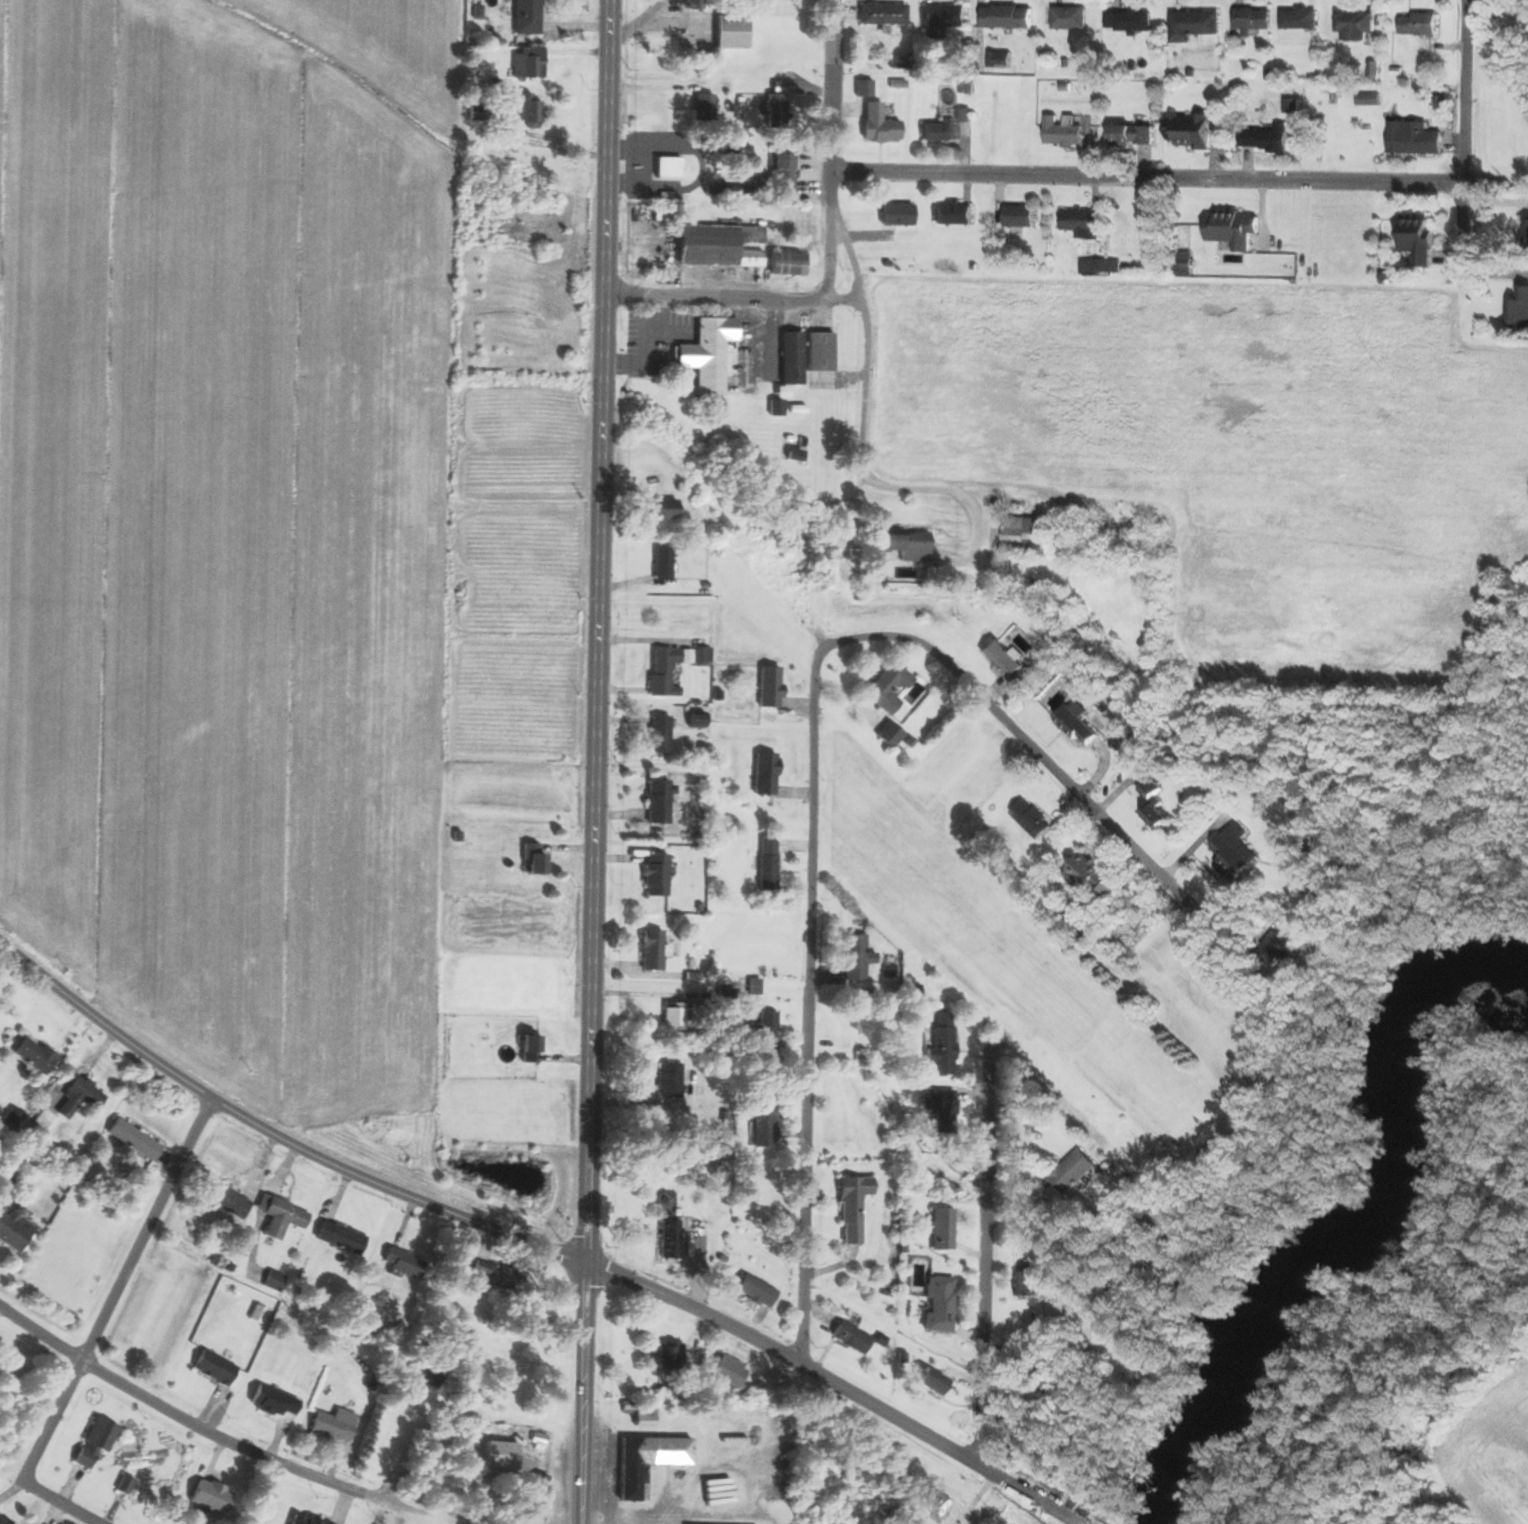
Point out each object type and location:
building: (694, 4)
building: (884, 13)
building: (528, 17)
building: (1010, 17)
building: (1071, 18)
building: (1300, 18)
building: (1255, 19)
building: (944, 20)
building: (1130, 21)
building: (1195, 25)
building: (1357, 25)
building: (1420, 25)
building: (733, 31)
building: (529, 62)
building: (899, 65)
building: (865, 88)
building: (1368, 100)
building: (703, 107)
building: (777, 108)
building: (530, 111)
building: (477, 113)
building: (965, 115)
building: (883, 131)
building: (940, 131)
building: (1192, 131)
building: (1065, 132)
building: (1133, 135)
building: (1416, 138)
building: (1267, 139)
road: (553, 146)
building: (720, 147)
road: (832, 155)
road: (1466, 165)
building: (669, 168)
road: (645, 170)
building: (784, 172)
road: (1148, 176)
building: (729, 191)
building: (955, 213)
building: (898, 214)
building: (1021, 216)
building: (1084, 223)
building: (1232, 229)
building: (1420, 237)
building: (720, 245)
road: (829, 254)
building: (788, 263)
building: (1104, 266)
road: (734, 298)
building: (1519, 308)
building: (821, 351)
building: (709, 354)
building: (793, 357)
road: (863, 395)
building: (777, 408)
building: (798, 457)
building: (662, 509)
building: (1028, 535)
building: (908, 544)
building: (664, 564)
building: (703, 657)
building: (1003, 659)
building: (664, 672)
building: (771, 686)
building: (889, 688)
building: (1079, 724)
building: (661, 734)
building: (891, 735)
road: (812, 749)
road: (594, 761)
building: (767, 773)
building: (660, 802)
building: (1156, 810)
building: (1034, 819)
building: (1236, 853)
building: (535, 859)
building: (769, 863)
building: (657, 875)
building: (1091, 875)
building: (1276, 948)
building: (653, 951)
building: (858, 958)
building: (674, 1018)
building: (766, 1032)
building: (943, 1045)
building: (531, 1050)
building: (35, 1056)
building: (671, 1080)
building: (81, 1098)
building: (942, 1109)
building: (13, 1119)
building: (42, 1122)
building: (765, 1122)
road: (276, 1135)
building: (135, 1139)
building: (1077, 1172)
building: (224, 1199)
building: (853, 1208)
building: (282, 1217)
building: (943, 1229)
building: (13, 1230)
building: (670, 1237)
building: (341, 1238)
building: (405, 1264)
building: (497, 1278)
building: (1031, 1284)
road: (975, 1288)
road: (118, 1291)
building: (757, 1292)
building: (940, 1304)
building: (852, 1338)
building: (669, 1356)
building: (216, 1369)
building: (730, 1372)
building: (933, 1382)
road: (839, 1387)
building: (276, 1403)
building: (645, 1419)
building: (734, 1424)
building: (335, 1426)
road: (209, 1433)
building: (97, 1442)
building: (539, 1443)
building: (501, 1456)
building: (650, 1462)
building: (539, 1493)
building: (211, 1497)
building: (940, 1503)
road: (63, 1505)
building: (4, 1521)

